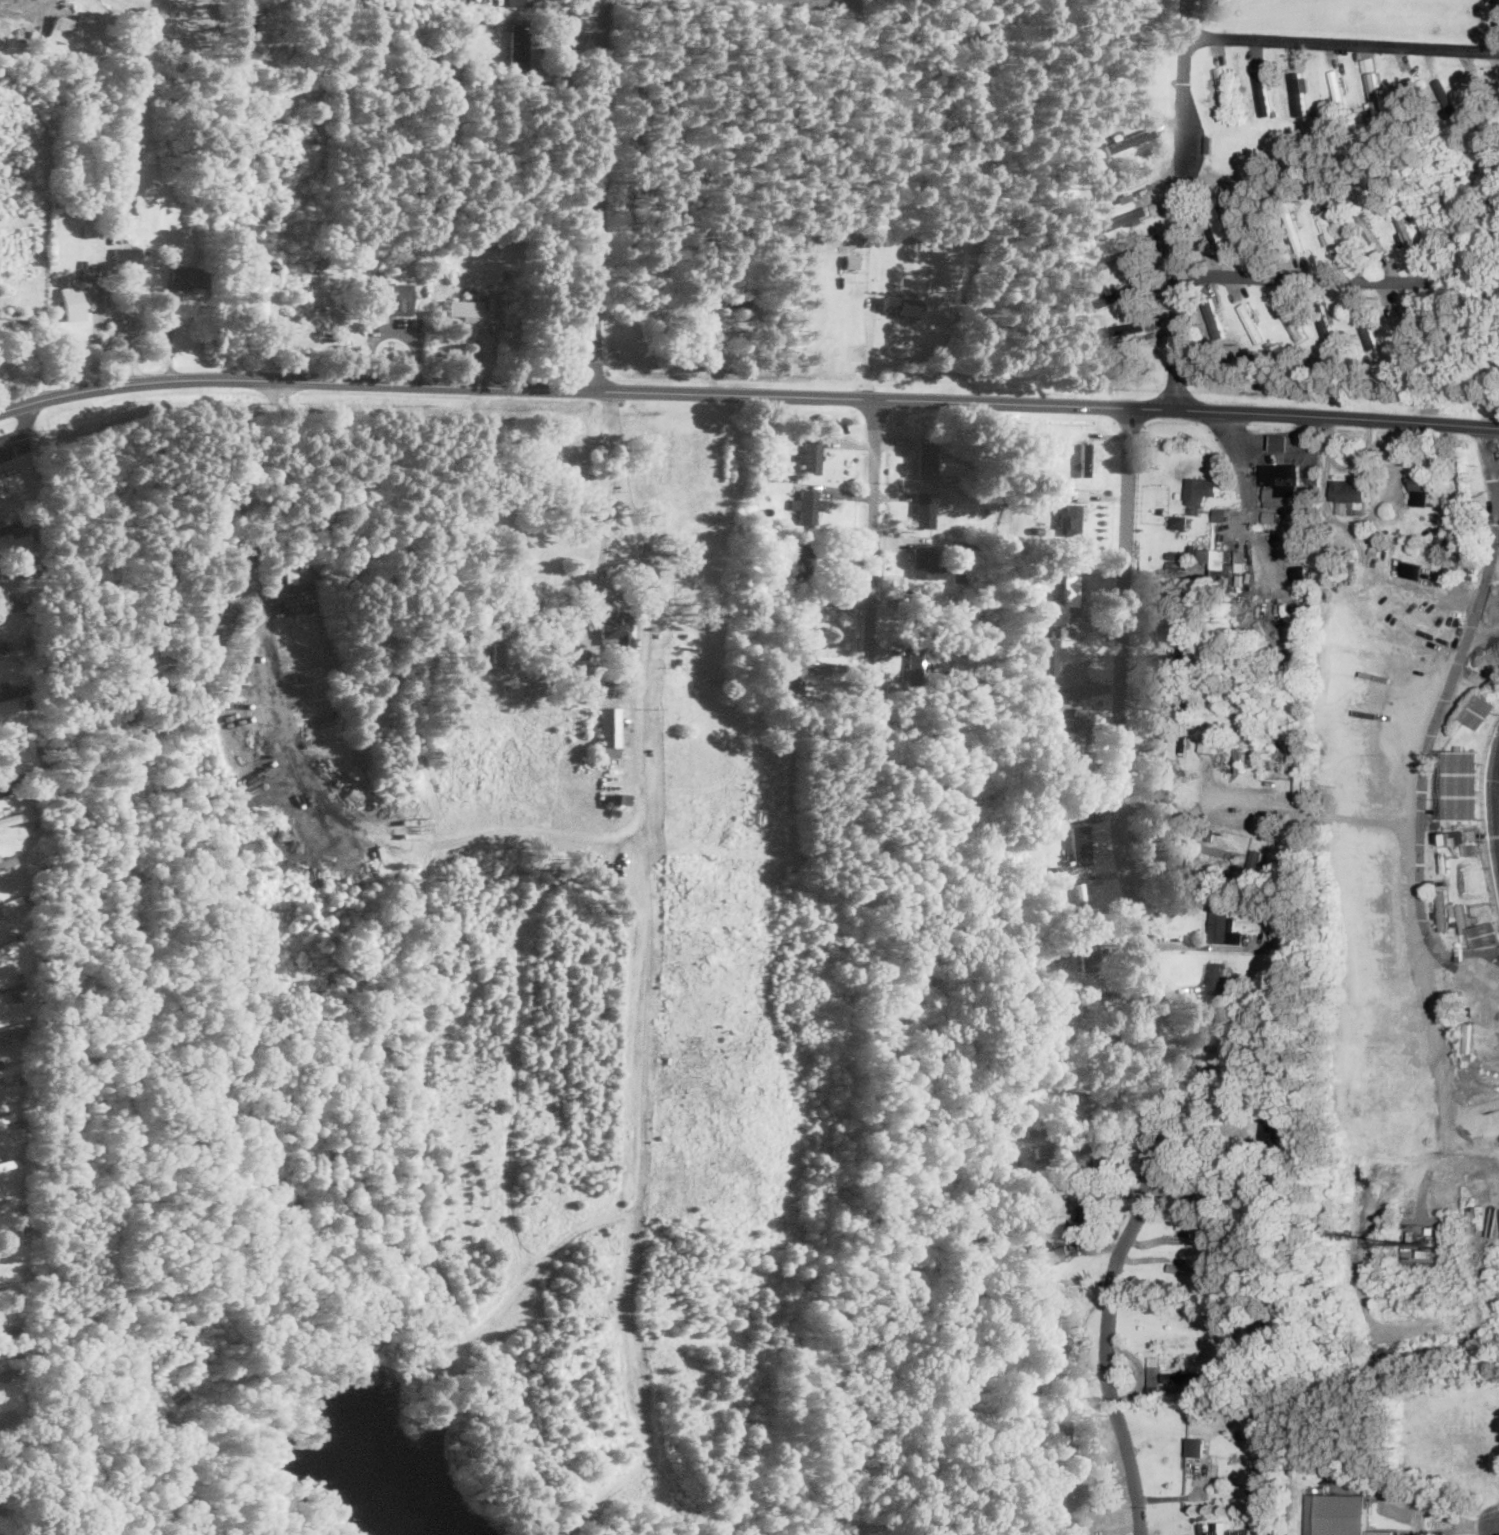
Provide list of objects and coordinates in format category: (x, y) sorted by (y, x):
building: (518, 1)
road: (9, 6)
road: (1498, 11)
road: (537, 12)
building: (246, 19)
building: (59, 26)
road: (1344, 41)
building: (518, 45)
building: (1224, 85)
building: (1263, 91)
building: (1376, 92)
building: (1299, 95)
building: (1128, 139)
building: (1209, 143)
building: (1126, 177)
road: (595, 195)
road: (1183, 203)
building: (125, 205)
building: (1125, 217)
building: (1254, 223)
building: (1331, 229)
building: (1408, 229)
building: (1221, 232)
building: (1296, 234)
building: (1373, 234)
building: (127, 255)
building: (1124, 255)
building: (91, 270)
building: (187, 275)
road: (1307, 281)
building: (1123, 293)
building: (393, 297)
building: (72, 298)
building: (474, 303)
building: (899, 304)
building: (1216, 322)
building: (1253, 322)
building: (1294, 324)
building: (1128, 327)
building: (1404, 327)
building: (1368, 328)
building: (1330, 332)
road: (96, 336)
road: (126, 341)
road: (36, 354)
road: (748, 395)
road: (1284, 450)
building: (814, 456)
building: (1086, 457)
building: (929, 458)
road: (1244, 469)
building: (1280, 477)
building: (10, 482)
building: (1420, 488)
building: (1199, 489)
building: (1346, 489)
building: (1081, 494)
building: (1358, 505)
building: (812, 506)
building: (927, 509)
building: (1269, 515)
building: (1068, 519)
building: (1179, 521)
building: (13, 526)
road: (870, 544)
building: (804, 560)
building: (1218, 560)
building: (930, 563)
building: (14, 565)
building: (1411, 570)
building: (802, 622)
road: (1483, 632)
building: (3, 649)
road: (264, 649)
building: (1048, 656)
building: (918, 667)
building: (797, 675)
road: (1452, 685)
building: (11, 689)
building: (1479, 709)
building: (610, 730)
building: (1207, 741)
building: (1462, 782)
building: (620, 797)
road: (1292, 804)
building: (1080, 843)
building: (1471, 847)
building: (7, 861)
building: (1254, 862)
building: (1081, 899)
building: (1223, 926)
building: (1484, 932)
road: (1194, 944)
building: (1087, 949)
road: (1464, 951)
road: (1153, 974)
building: (10, 977)
building: (1216, 977)
building: (12, 989)
building: (1218, 1030)
road: (1439, 1056)
building: (8, 1069)
building: (1225, 1092)
building: (1081, 1103)
building: (0, 1124)
building: (1271, 1128)
road: (1484, 1140)
building: (1082, 1149)
road: (1197, 1153)
building: (1088, 1206)
building: (1194, 1225)
building: (1041, 1250)
building: (1189, 1269)
building: (9, 1332)
building: (1059, 1353)
building: (1154, 1369)
building: (6, 1372)
building: (1178, 1376)
building: (1066, 1444)
building: (1195, 1446)
building: (1068, 1492)
road: (1415, 1501)
building: (1333, 1515)
building: (1220, 1529)

